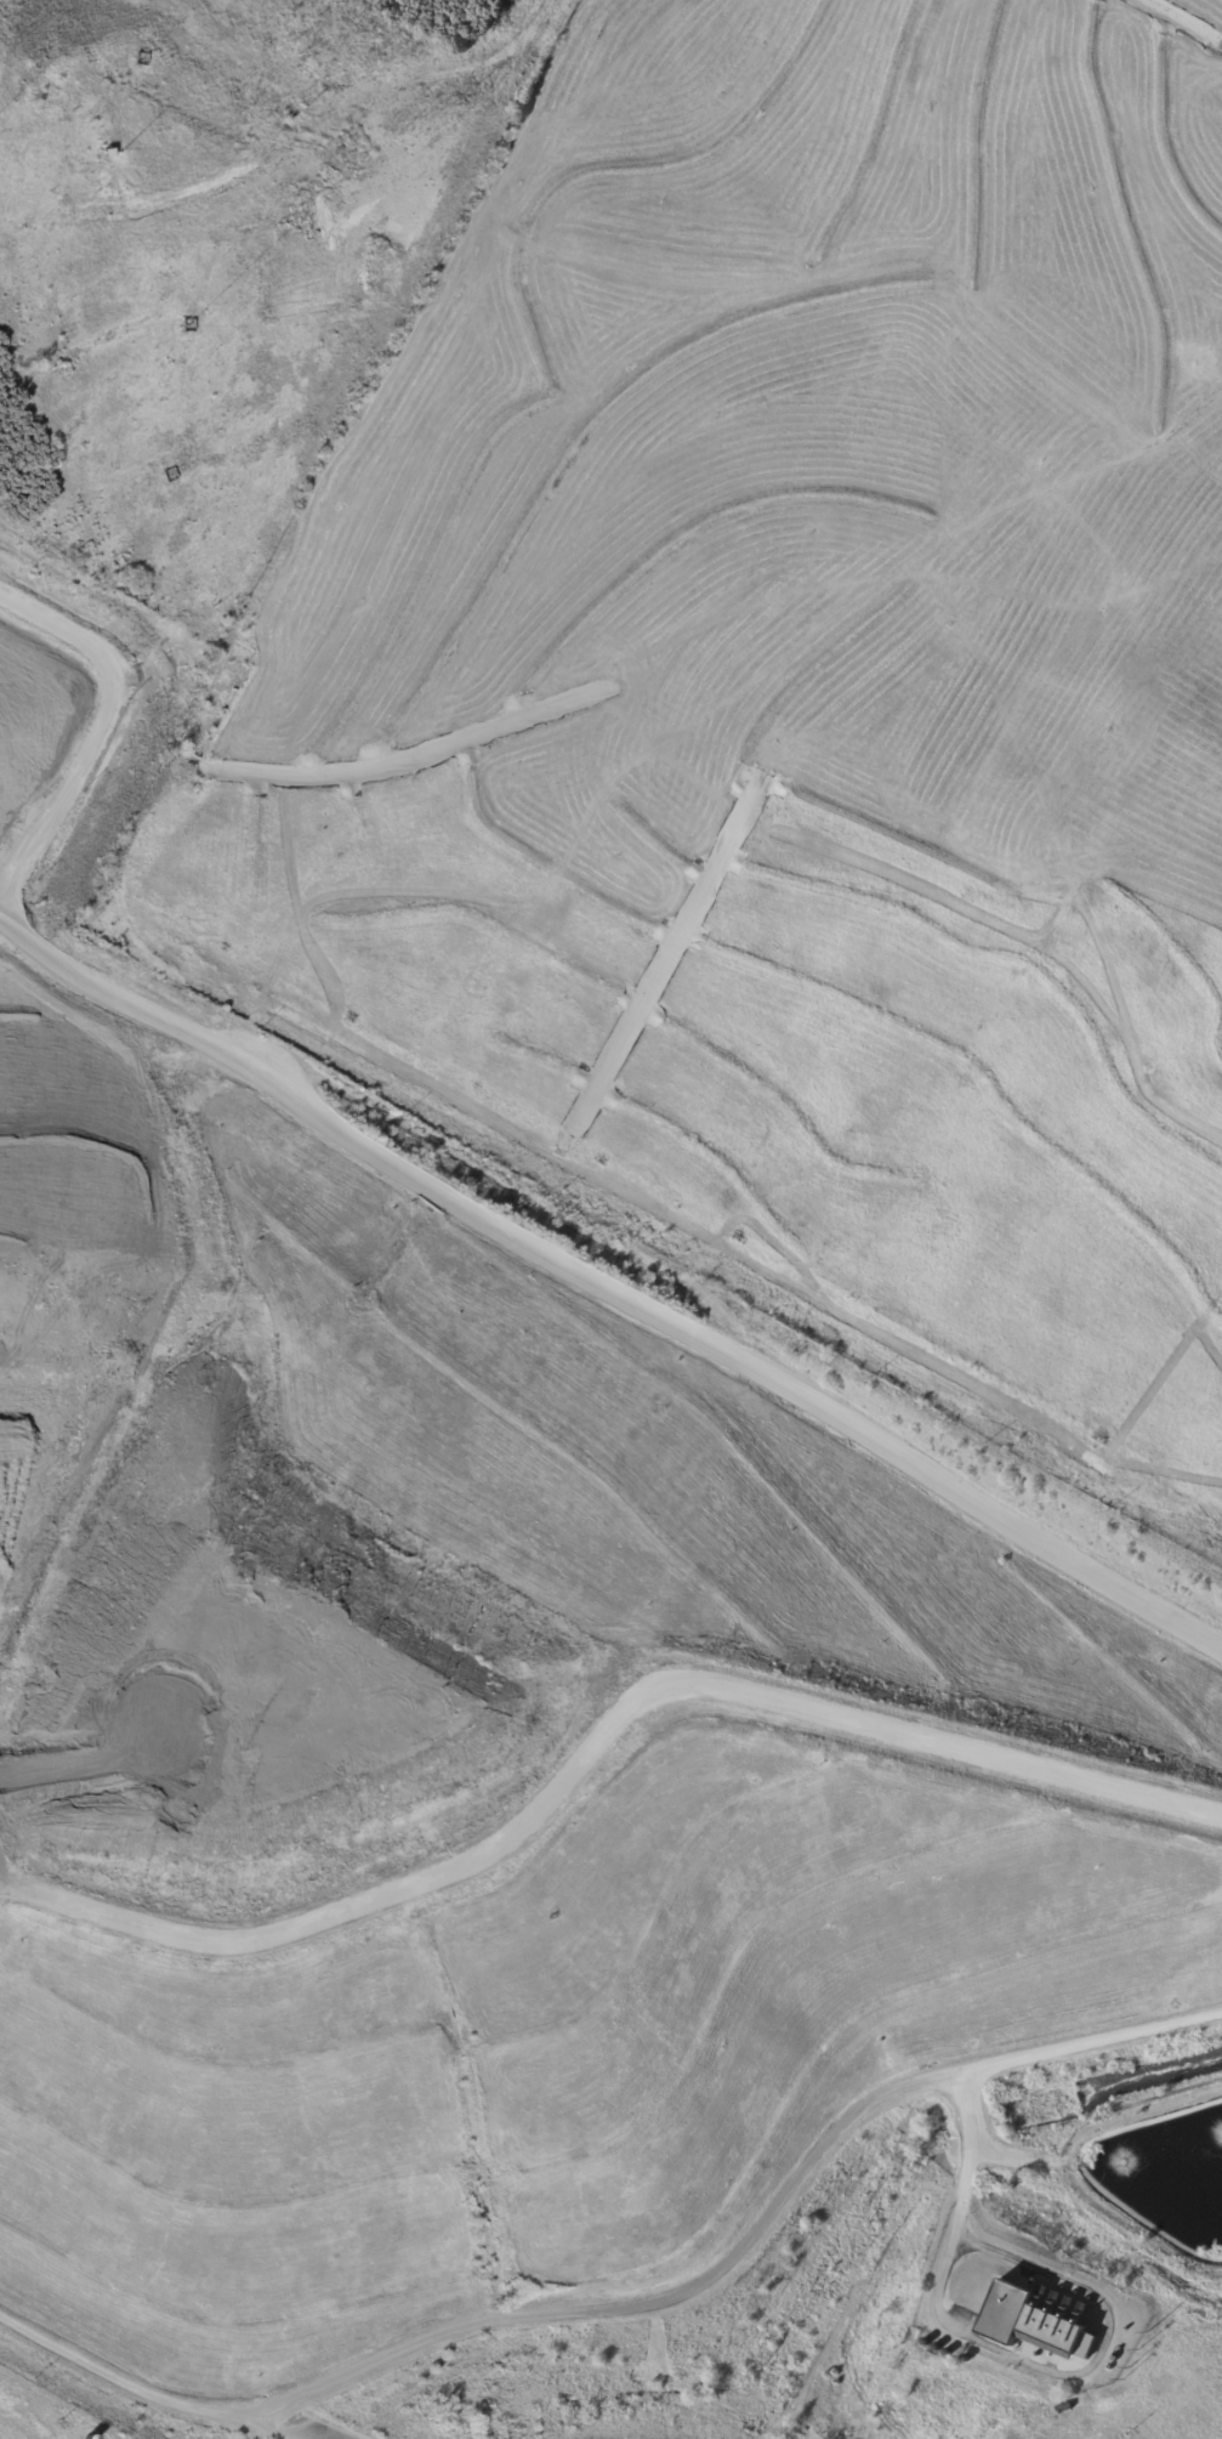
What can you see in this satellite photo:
road: (335, 114)
building: (104, 151)
landfill: (800, 676)
road: (721, 1338)
landfill: (472, 1731)
road: (972, 2156)
road: (750, 2237)
landfill: (1038, 2292)
building: (1029, 2321)
building: (1116, 2358)
building: (1065, 2409)
landfill: (44, 2415)
road: (273, 2431)

